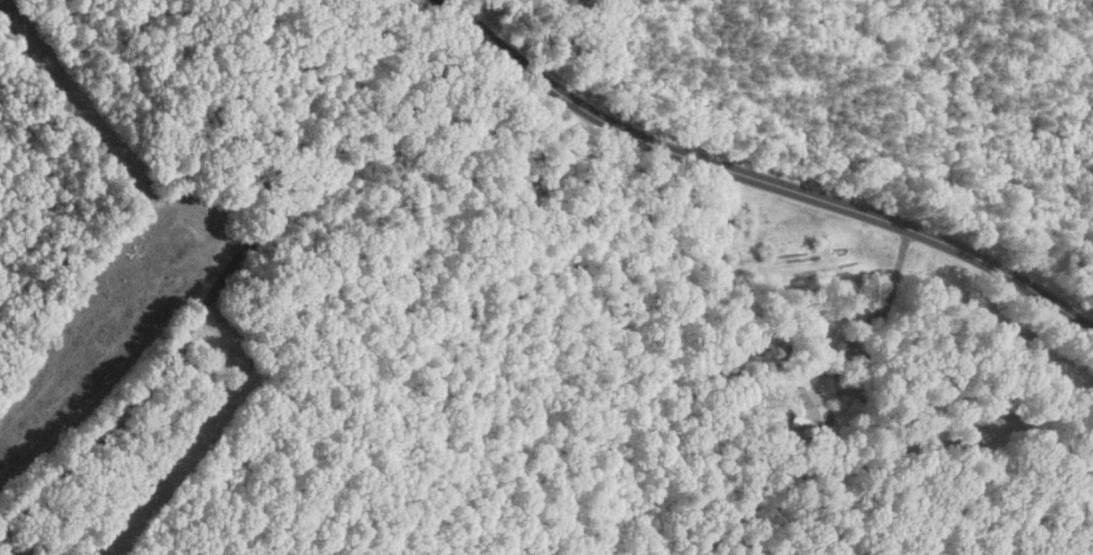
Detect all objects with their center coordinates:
road: (760, 181)
road: (236, 268)
road: (850, 342)
road: (980, 349)

